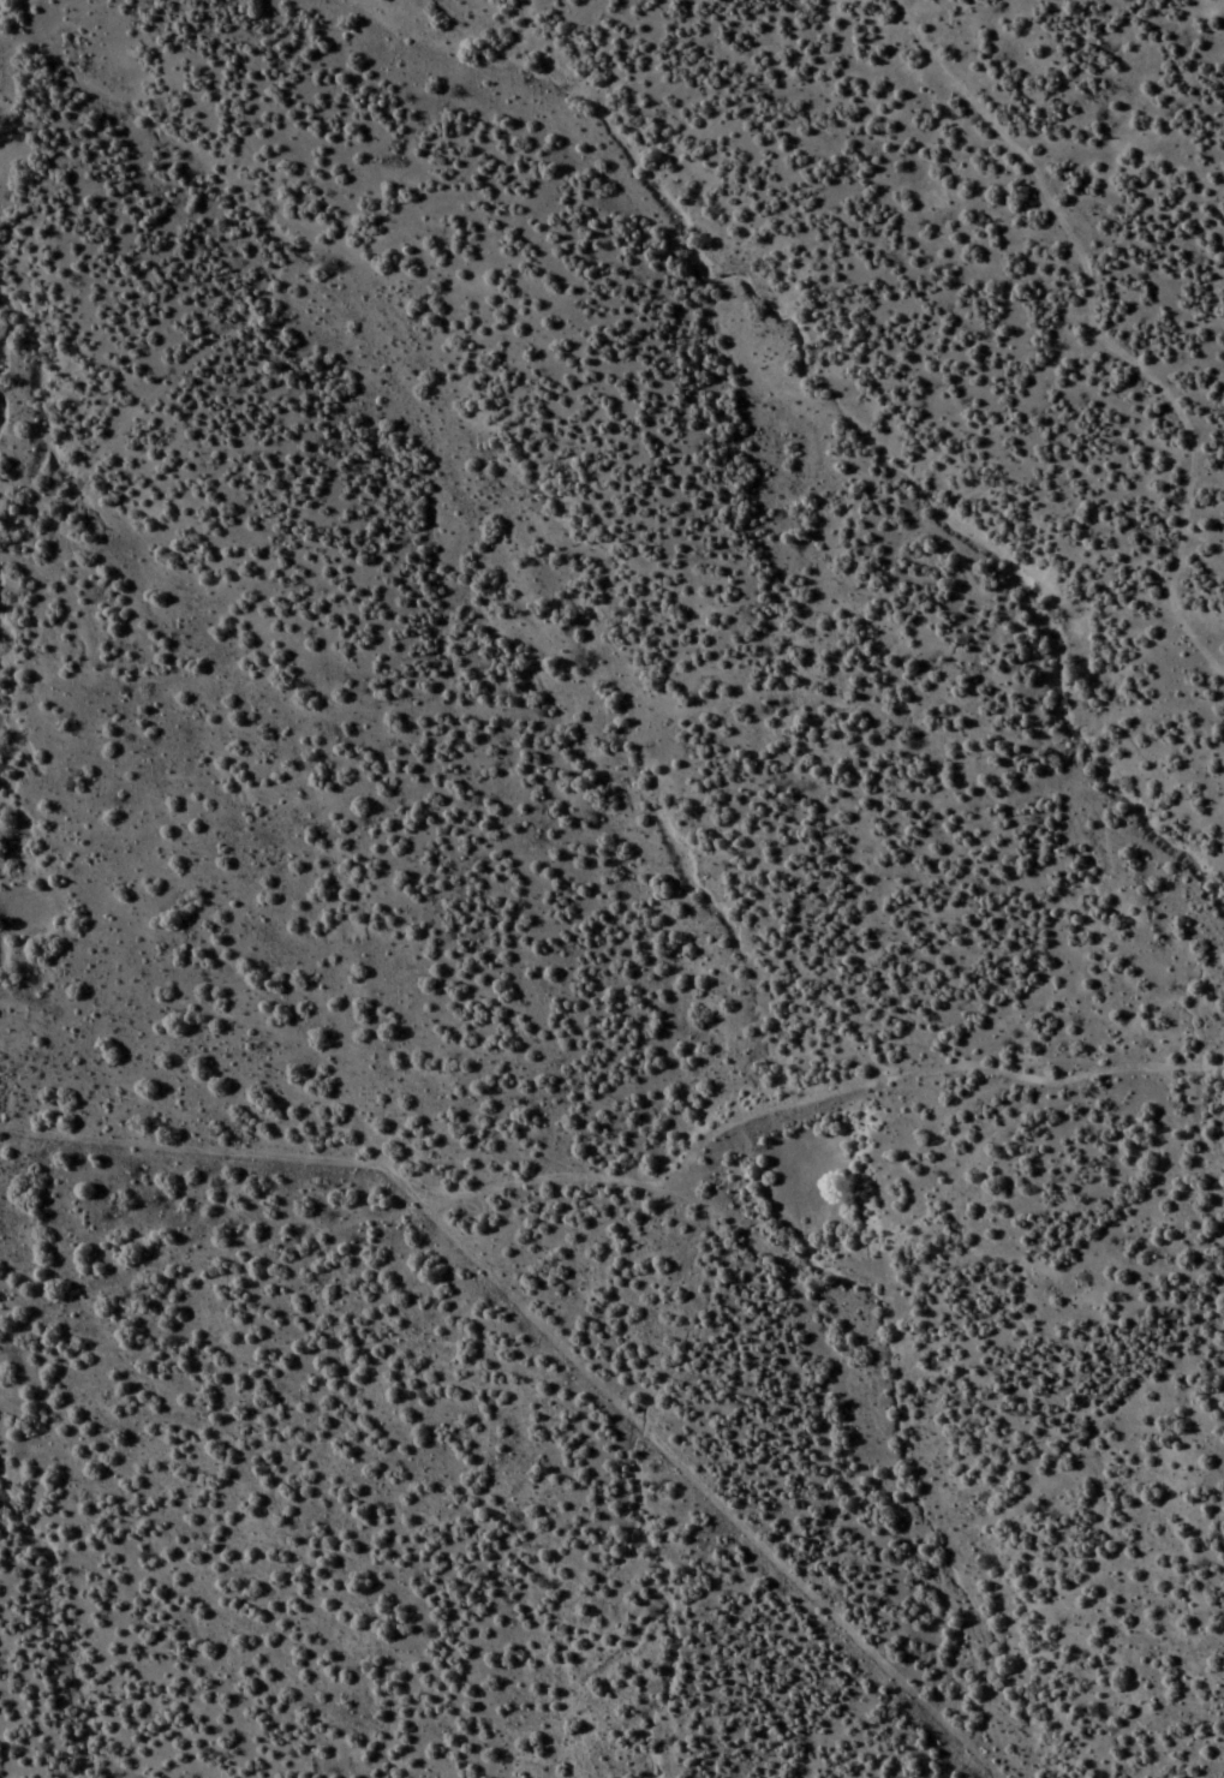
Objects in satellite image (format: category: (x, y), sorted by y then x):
road: (650, 1233)

